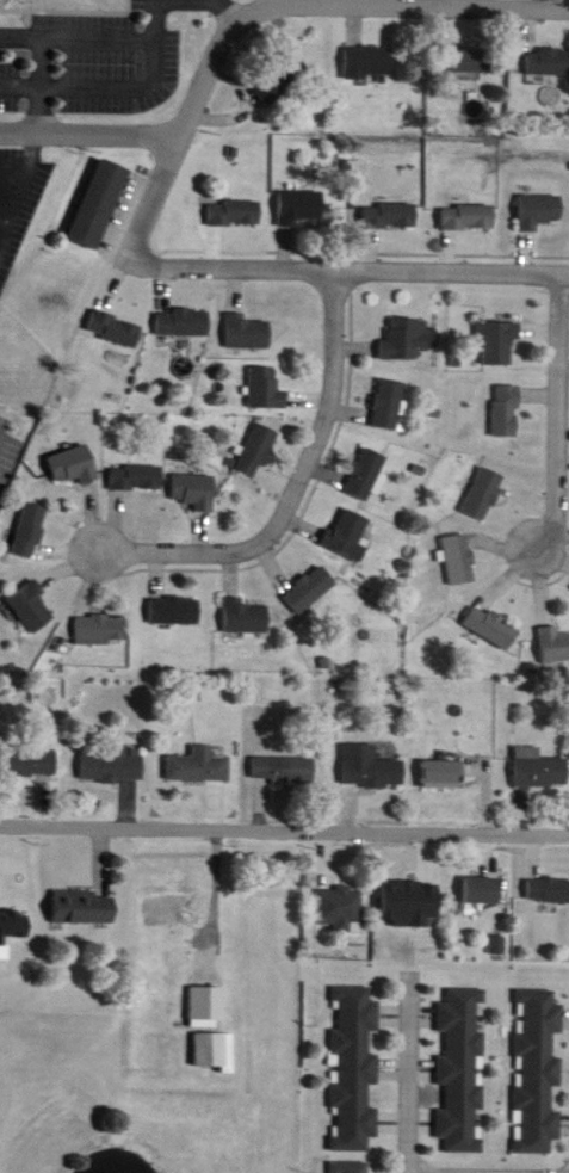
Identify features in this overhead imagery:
road: (233, 4)
road: (150, 12)
parking lot: (87, 47)
road: (151, 47)
building: (369, 61)
building: (466, 61)
building: (549, 62)
road: (41, 69)
building: (282, 81)
road: (245, 94)
road: (89, 118)
road: (178, 128)
parking lot: (18, 183)
building: (99, 203)
building: (301, 208)
building: (230, 211)
building: (539, 211)
building: (390, 216)
building: (469, 217)
road: (363, 255)
building: (181, 321)
building: (113, 328)
building: (246, 332)
building: (407, 339)
building: (501, 341)
building: (265, 388)
building: (388, 403)
road: (562, 406)
building: (507, 410)
building: (256, 450)
building: (72, 464)
building: (365, 473)
building: (134, 477)
road: (305, 489)
building: (193, 490)
building: (484, 493)
building: (27, 530)
building: (347, 535)
building: (459, 558)
building: (309, 589)
building: (30, 607)
building: (173, 610)
building: (245, 618)
building: (98, 626)
building: (493, 626)
building: (553, 646)
building: (27, 764)
building: (112, 766)
building: (198, 766)
building: (282, 768)
building: (369, 768)
building: (538, 768)
building: (441, 774)
road: (284, 813)
building: (481, 890)
building: (548, 890)
building: (82, 906)
building: (340, 908)
building: (169, 910)
building: (11, 930)
building: (215, 1050)
building: (352, 1070)
building: (460, 1070)
building: (536, 1072)
road: (410, 1079)
building: (351, 1167)

